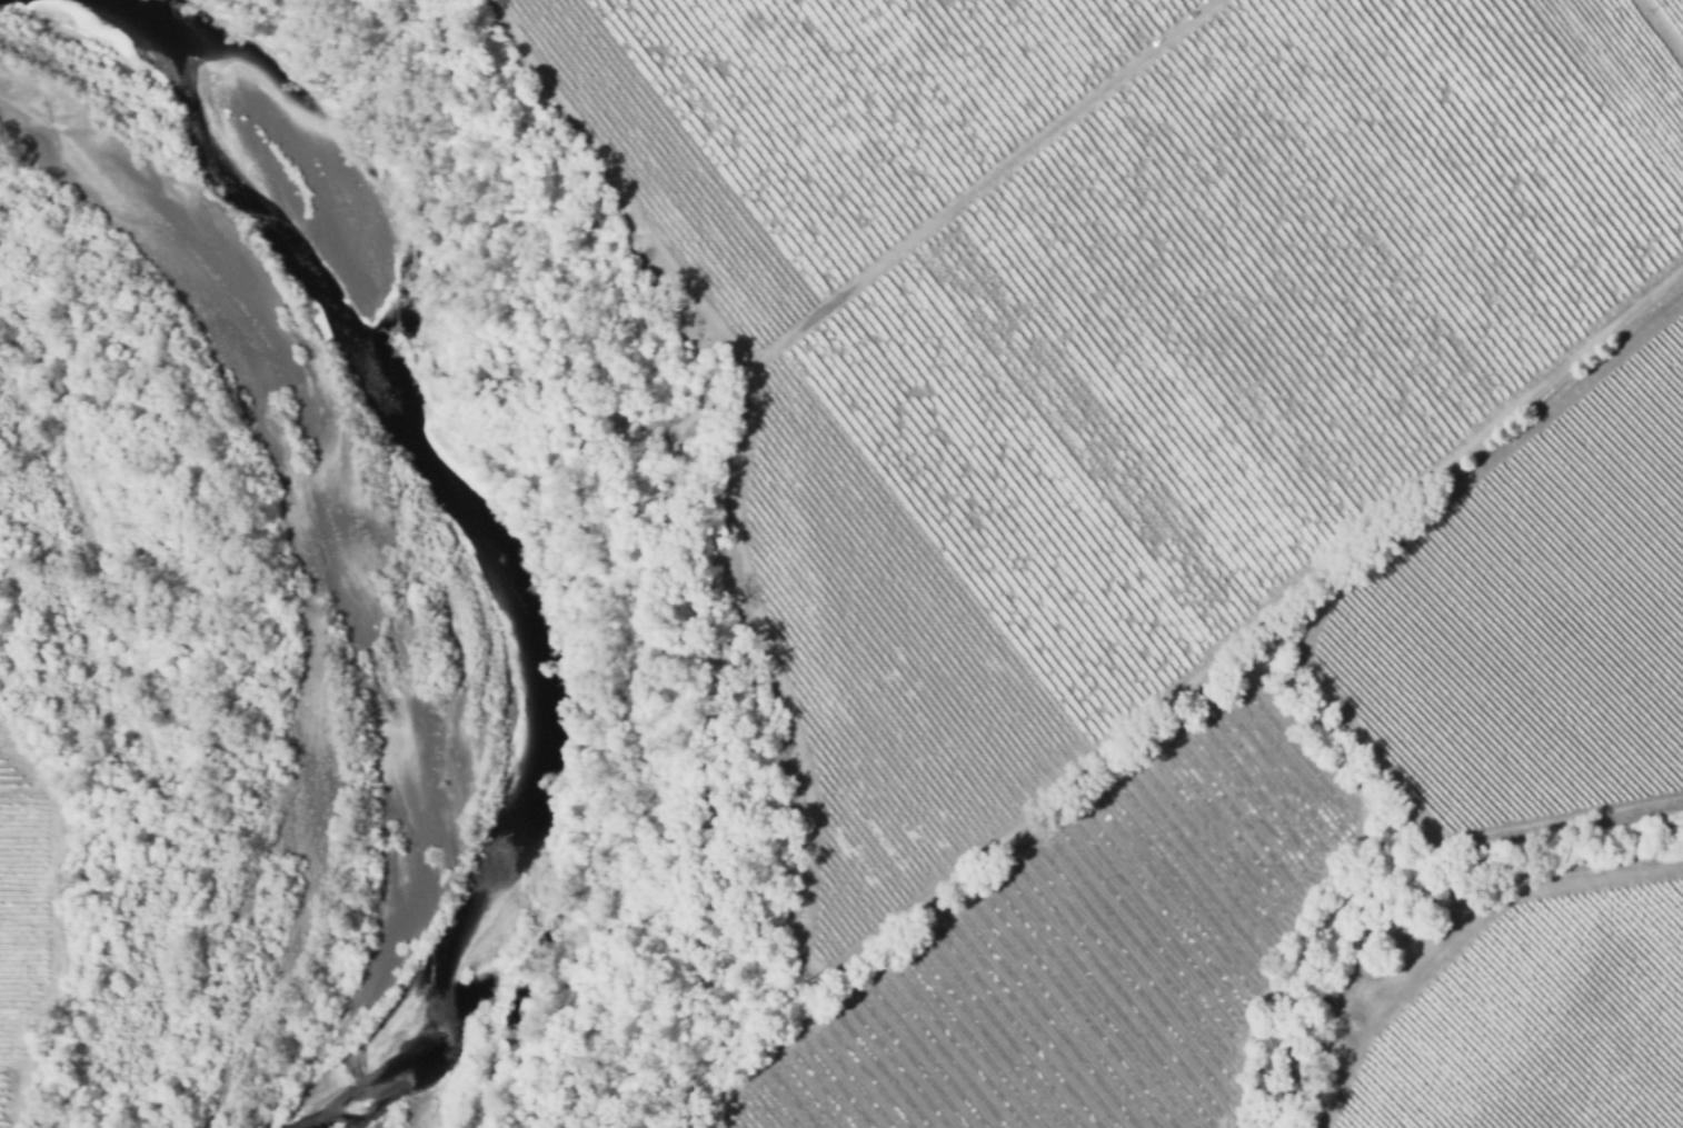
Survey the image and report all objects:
river: (415, 478)
road: (54, 921)

